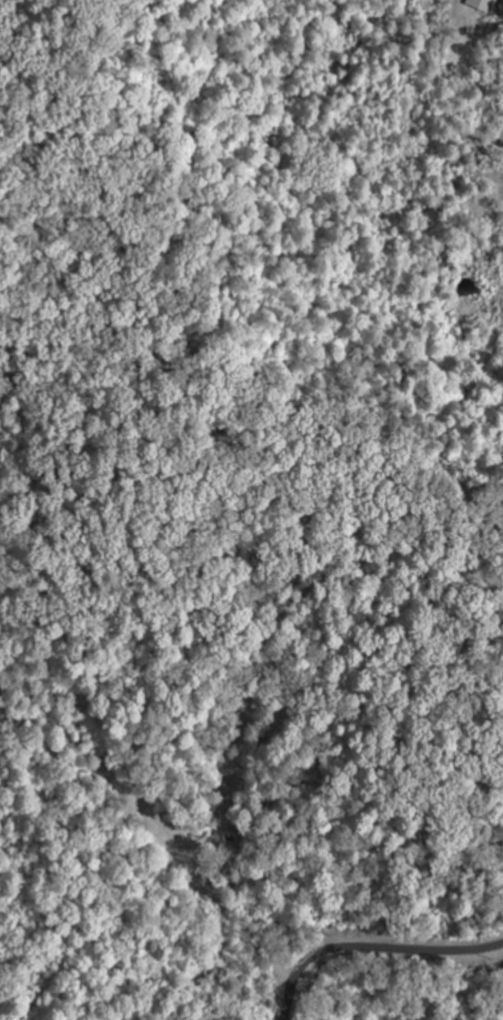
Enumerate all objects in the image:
building: (483, 5)
road: (374, 953)

